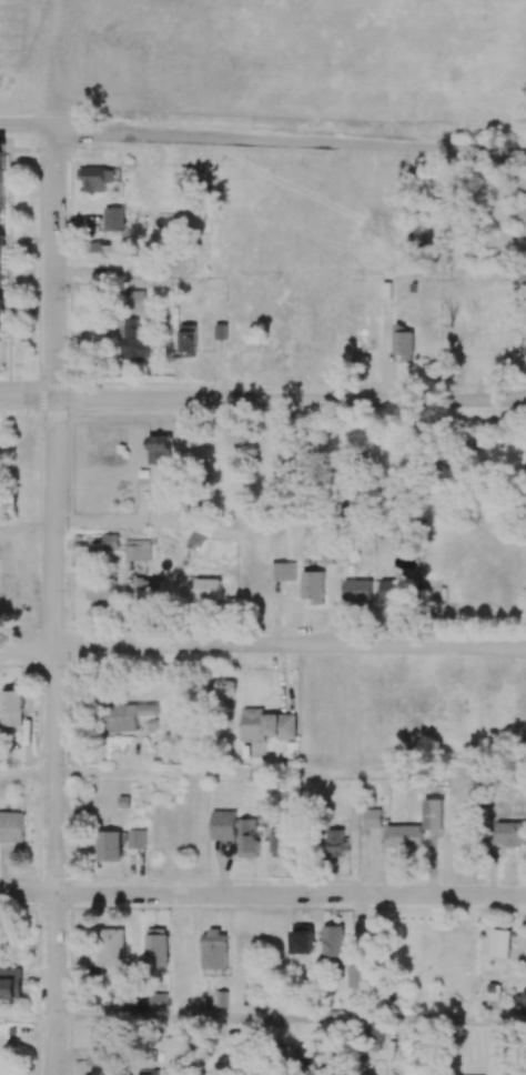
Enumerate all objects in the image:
park: (262, 73)
road: (30, 125)
road: (292, 148)
building: (95, 178)
building: (1, 194)
building: (114, 219)
building: (107, 253)
building: (136, 300)
building: (220, 331)
building: (136, 341)
building: (188, 341)
building: (403, 342)
road: (263, 400)
building: (159, 450)
road: (28, 523)
building: (111, 541)
building: (195, 542)
building: (136, 550)
building: (330, 554)
building: (282, 571)
building: (313, 586)
building: (99, 590)
building: (357, 590)
building: (394, 590)
building: (208, 591)
building: (150, 593)
road: (55, 606)
road: (262, 649)
building: (11, 706)
building: (128, 716)
building: (267, 724)
road: (175, 773)
road: (28, 774)
building: (433, 814)
building: (372, 817)
building: (223, 825)
building: (11, 826)
building: (509, 834)
building: (404, 836)
building: (247, 837)
building: (136, 838)
building: (279, 841)
building: (336, 843)
building: (109, 846)
road: (263, 895)
building: (302, 938)
building: (333, 941)
building: (500, 943)
building: (155, 947)
building: (181, 948)
building: (214, 950)
building: (110, 952)
building: (357, 976)
building: (10, 983)
building: (492, 991)
building: (222, 998)
building: (158, 1001)
building: (522, 1003)
road: (28, 1016)
road: (291, 1019)
building: (374, 1035)
building: (307, 1052)
building: (94, 1062)
building: (176, 1068)
building: (146, 1074)

